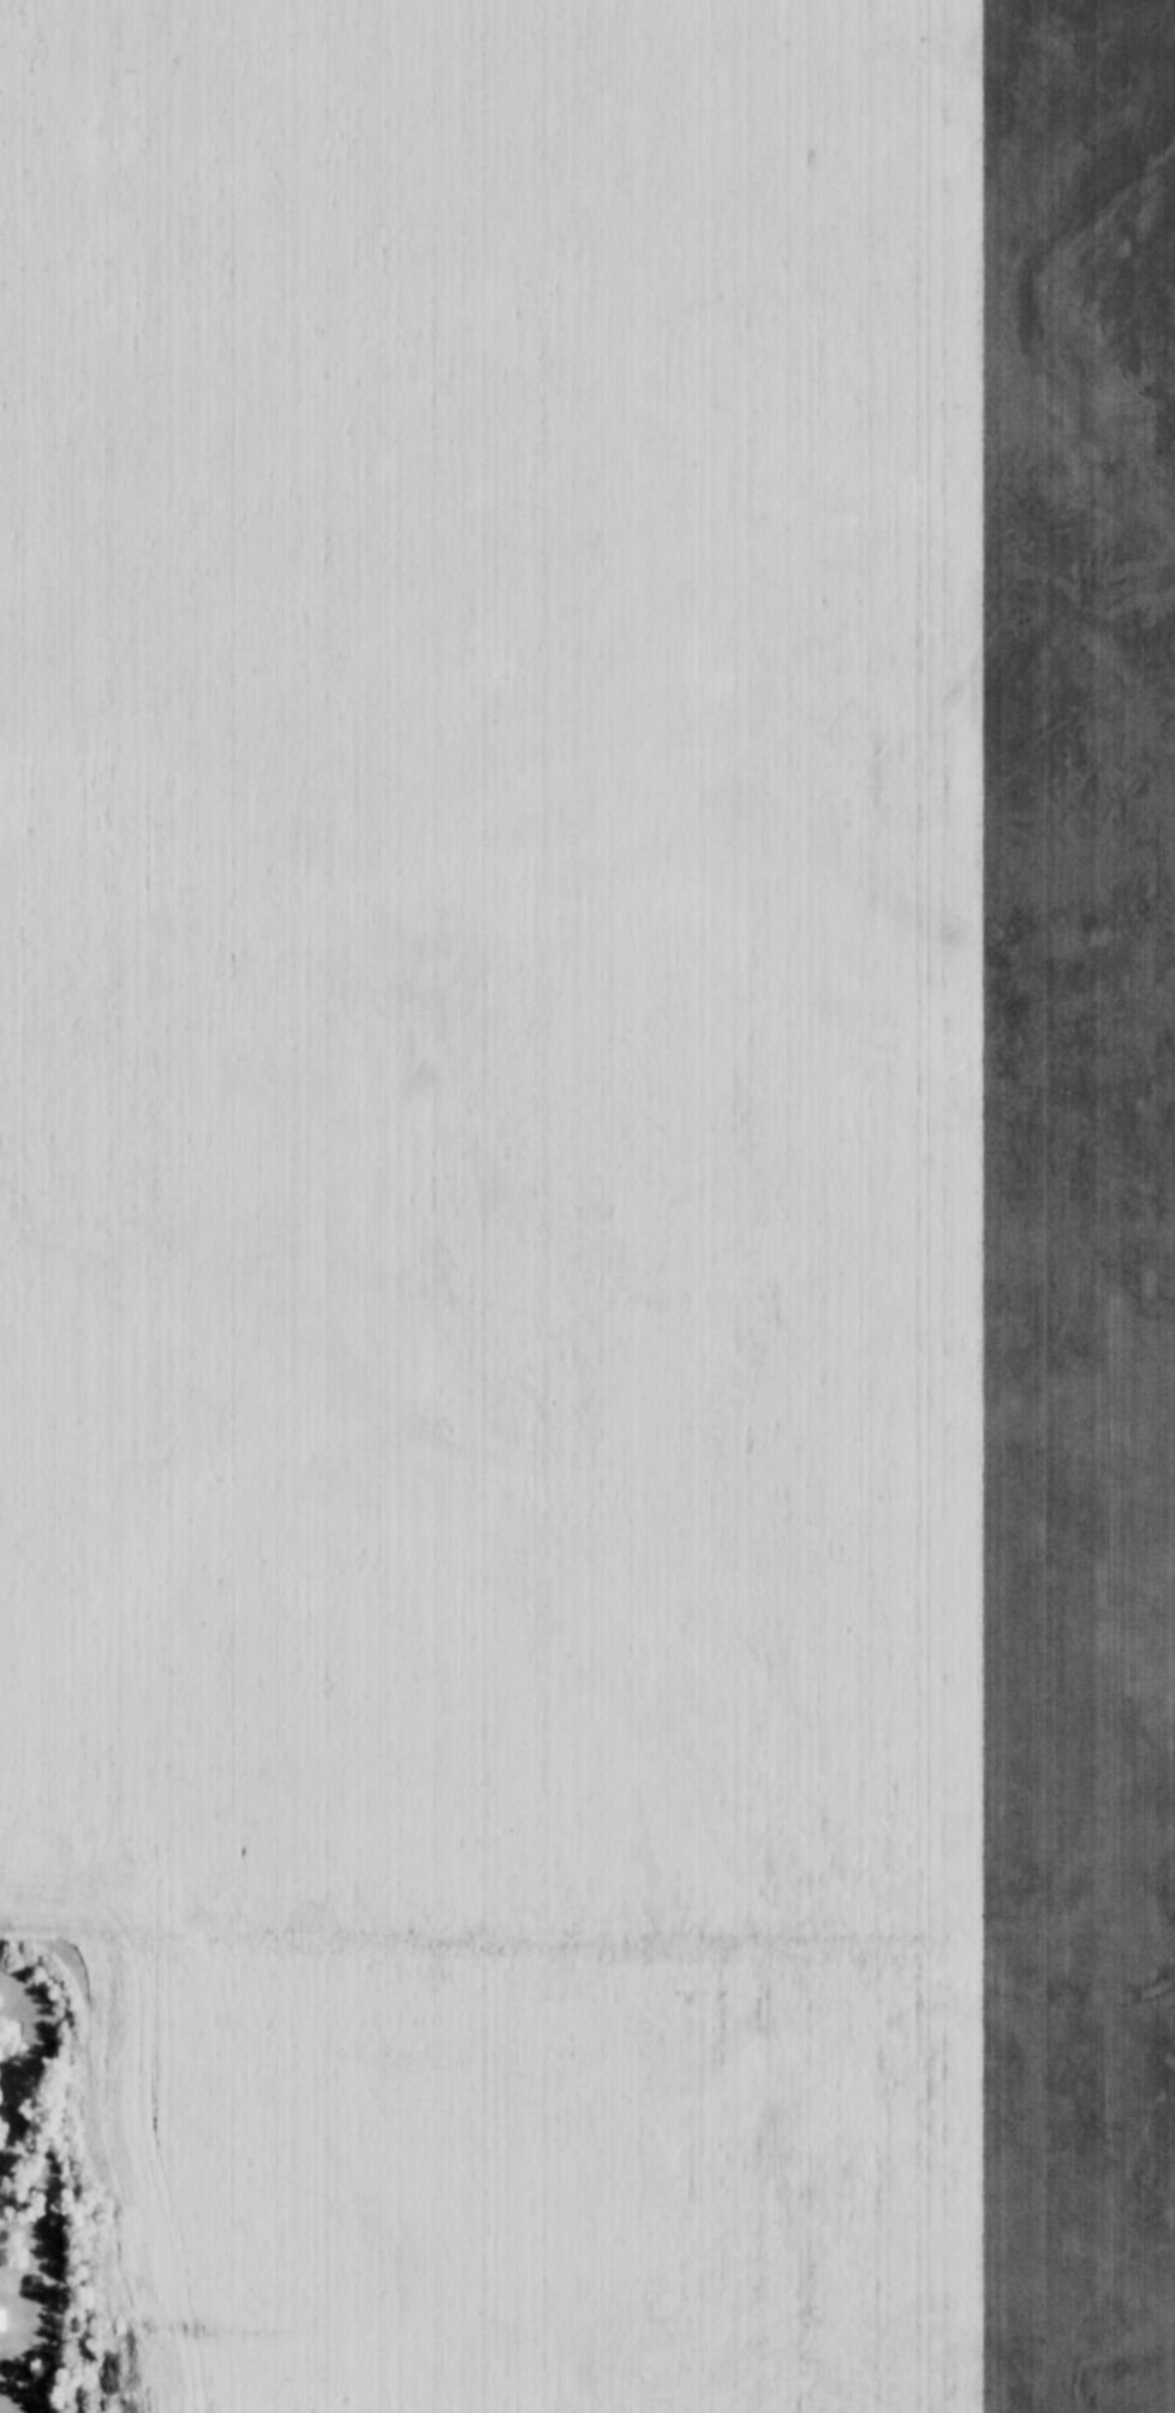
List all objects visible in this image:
road: (519, 1936)
building: (16, 2283)
building: (1, 2319)

